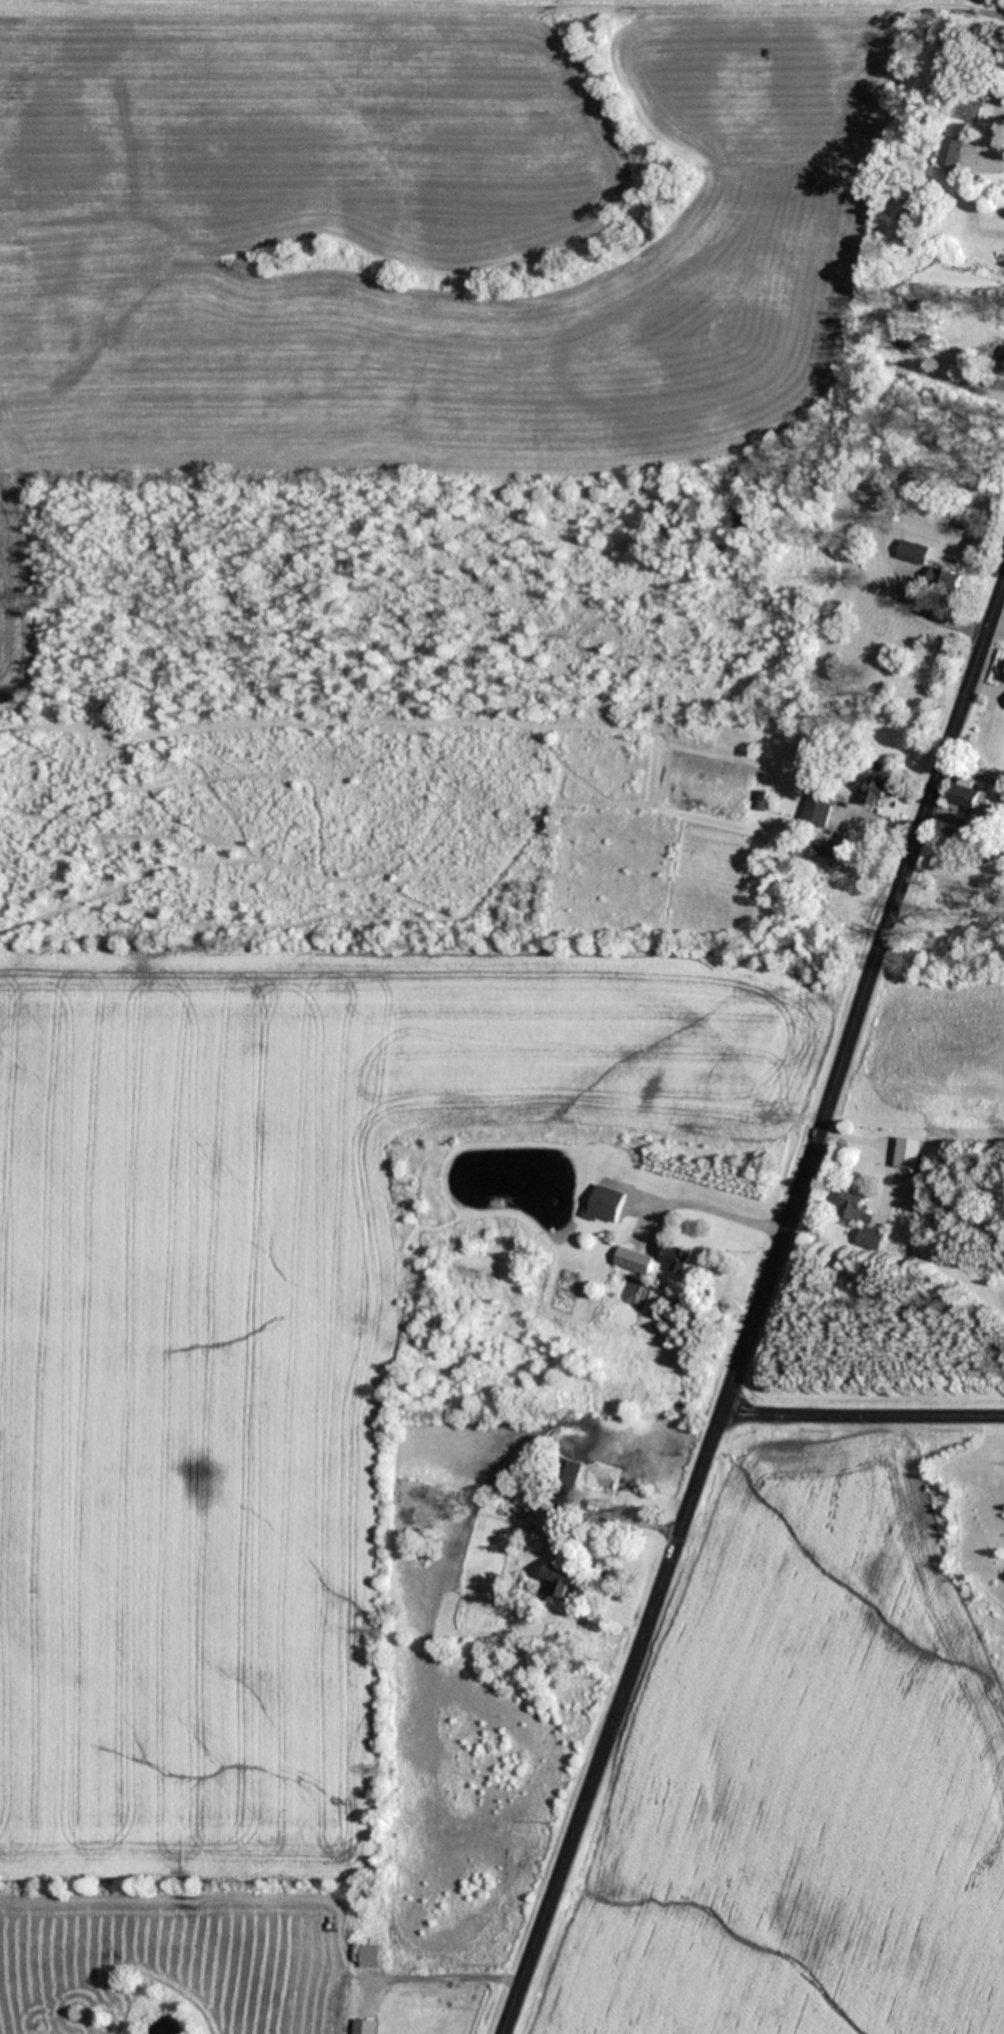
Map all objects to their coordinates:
building: (981, 83)
road: (991, 128)
building: (956, 152)
building: (912, 551)
building: (943, 577)
building: (875, 790)
building: (970, 797)
building: (818, 809)
building: (829, 855)
building: (908, 1153)
building: (608, 1188)
building: (862, 1220)
building: (676, 1258)
building: (635, 1260)
road: (758, 1305)
road: (862, 1413)
building: (565, 1480)
building: (558, 1583)
building: (363, 2026)

